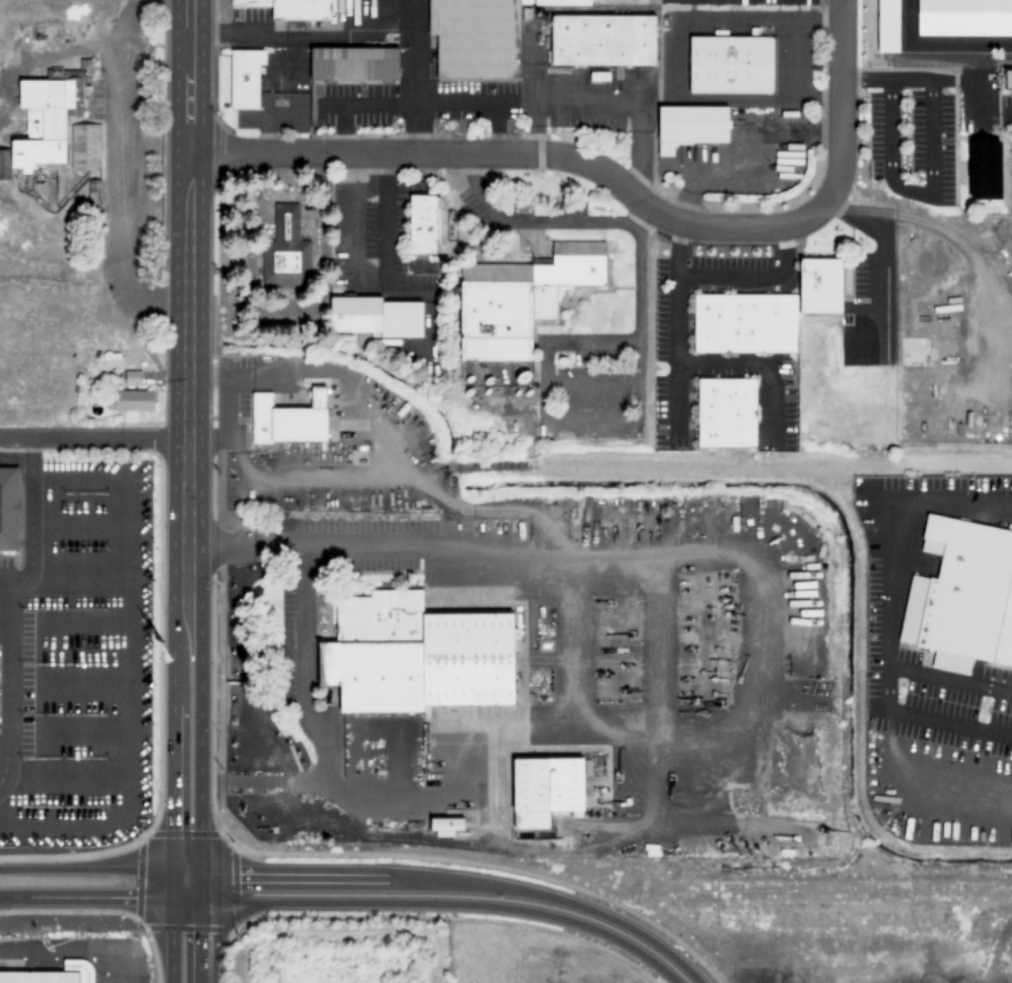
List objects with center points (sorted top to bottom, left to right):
building: (253, 2)
building: (563, 2)
building: (301, 9)
building: (963, 17)
building: (884, 25)
building: (475, 38)
building: (603, 40)
building: (353, 63)
building: (730, 65)
building: (245, 78)
building: (1007, 78)
road: (841, 92)
building: (50, 113)
building: (690, 127)
building: (85, 147)
road: (530, 154)
building: (4, 164)
building: (984, 169)
building: (93, 185)
road: (186, 214)
building: (423, 224)
building: (286, 251)
building: (820, 286)
building: (519, 298)
building: (376, 316)
building: (744, 323)
building: (132, 378)
building: (131, 401)
building: (726, 413)
building: (292, 421)
road: (92, 428)
road: (92, 437)
building: (9, 508)
building: (962, 596)
road: (5, 600)
building: (416, 655)
road: (182, 705)
building: (587, 767)
building: (546, 790)
building: (445, 826)
road: (91, 873)
road: (452, 880)
road: (91, 899)
road: (436, 904)
building: (54, 974)

